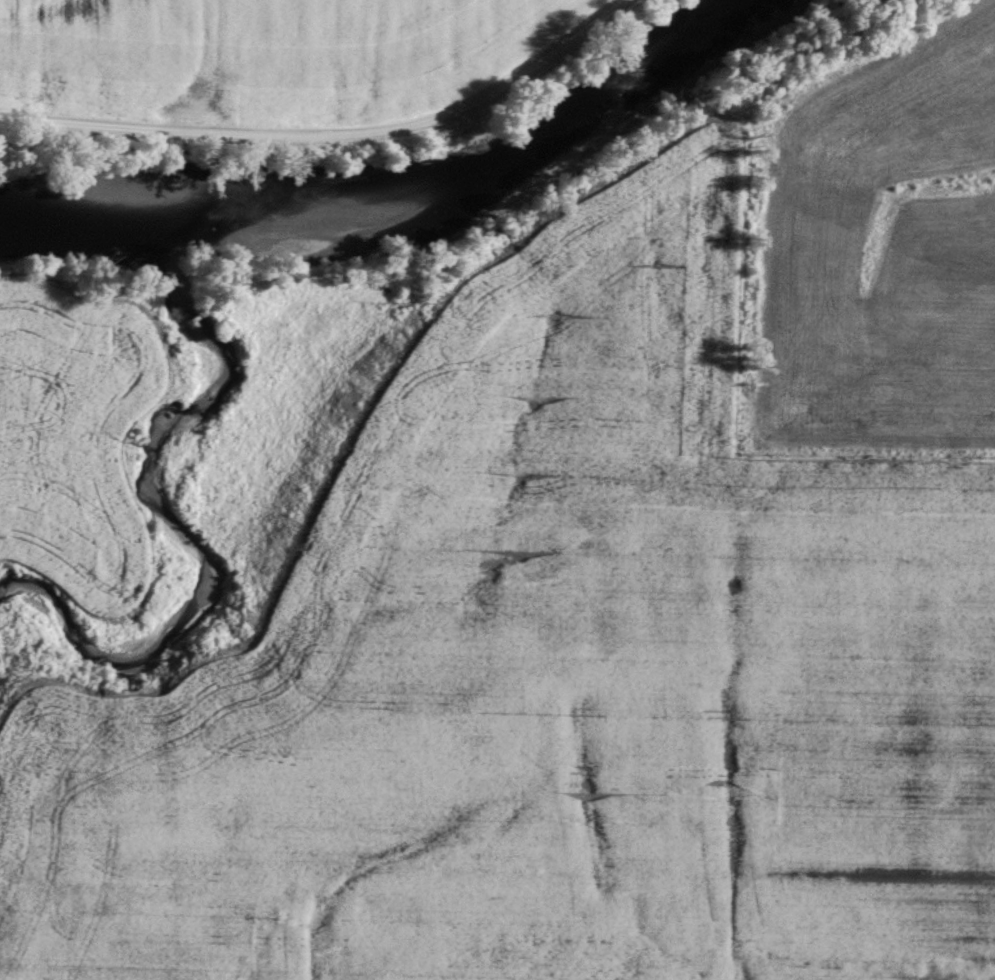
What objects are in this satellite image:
road: (332, 132)
river: (390, 185)

